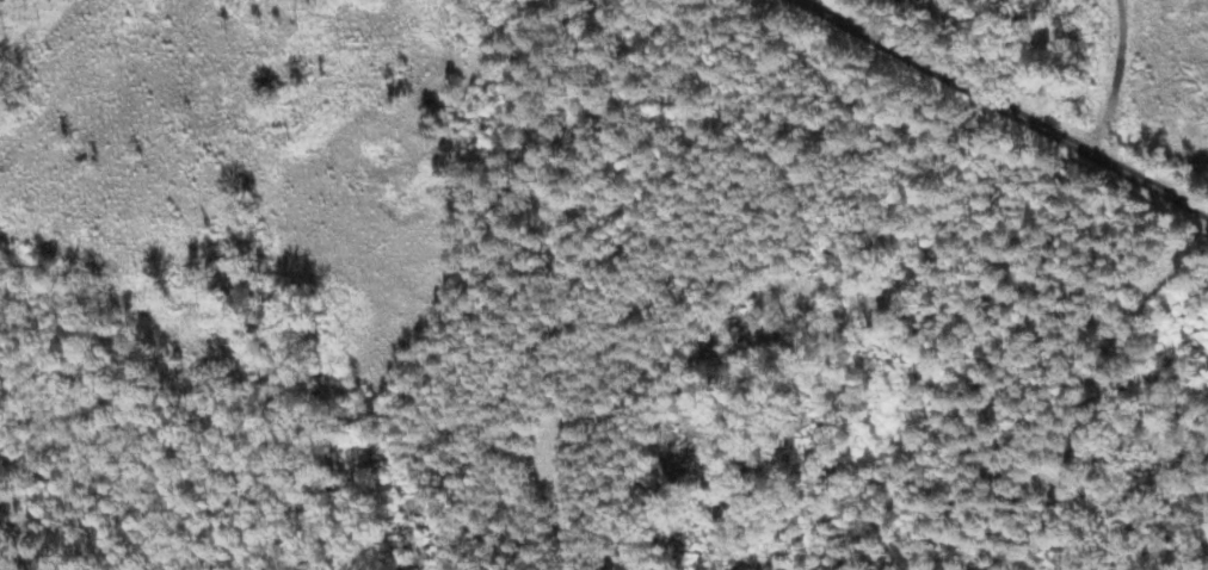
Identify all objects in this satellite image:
road: (1001, 107)

